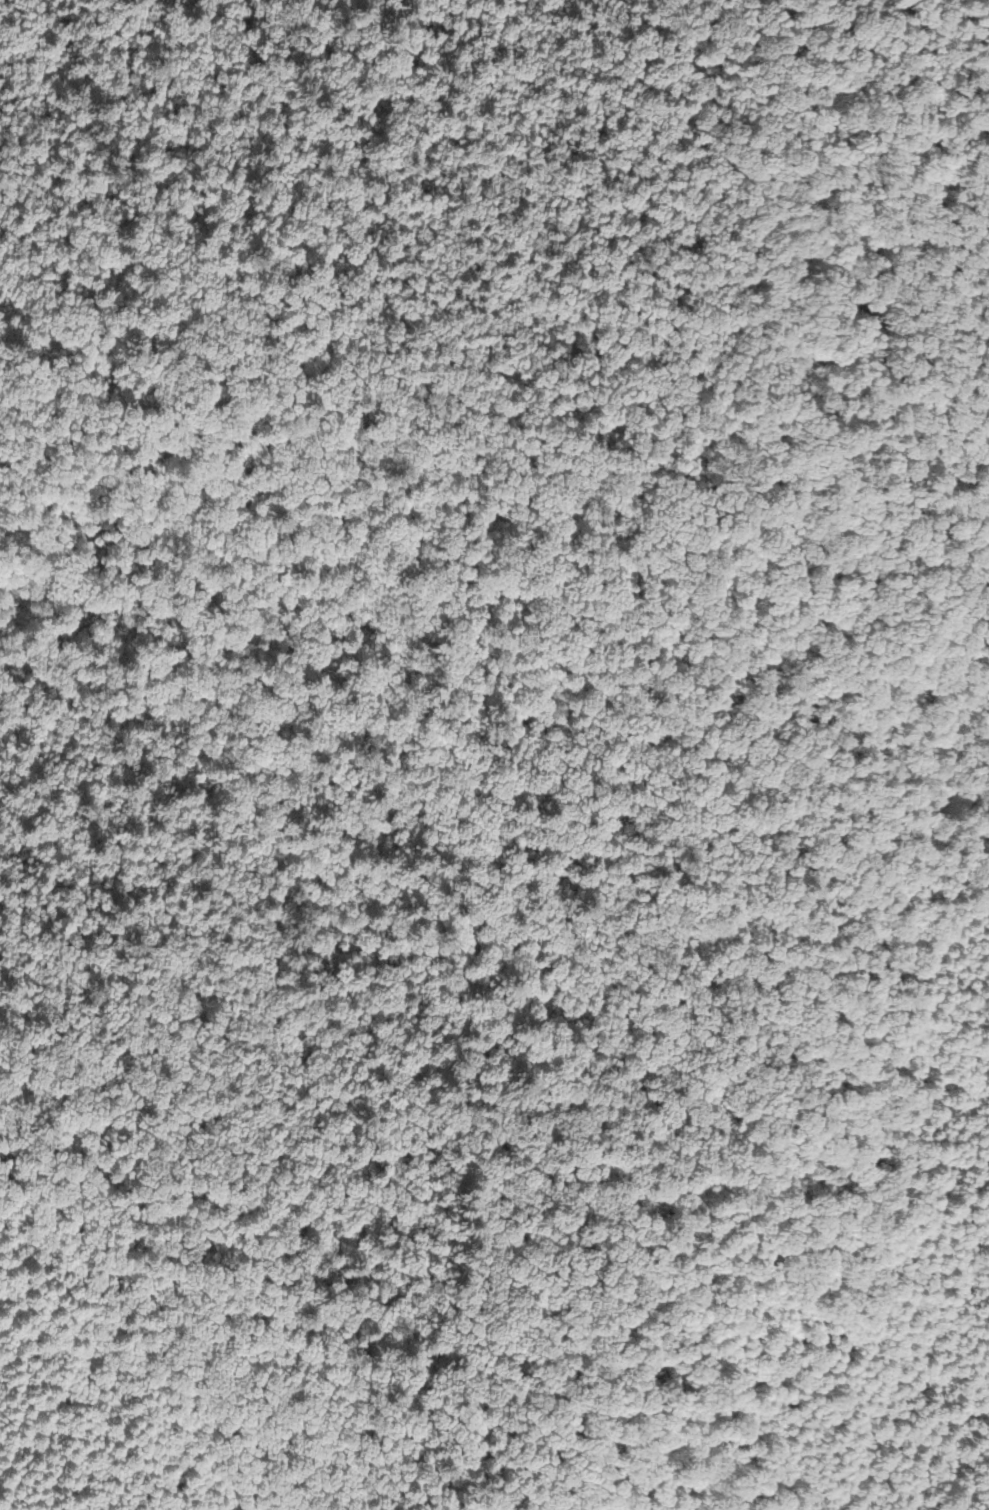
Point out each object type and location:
road: (928, 1441)

